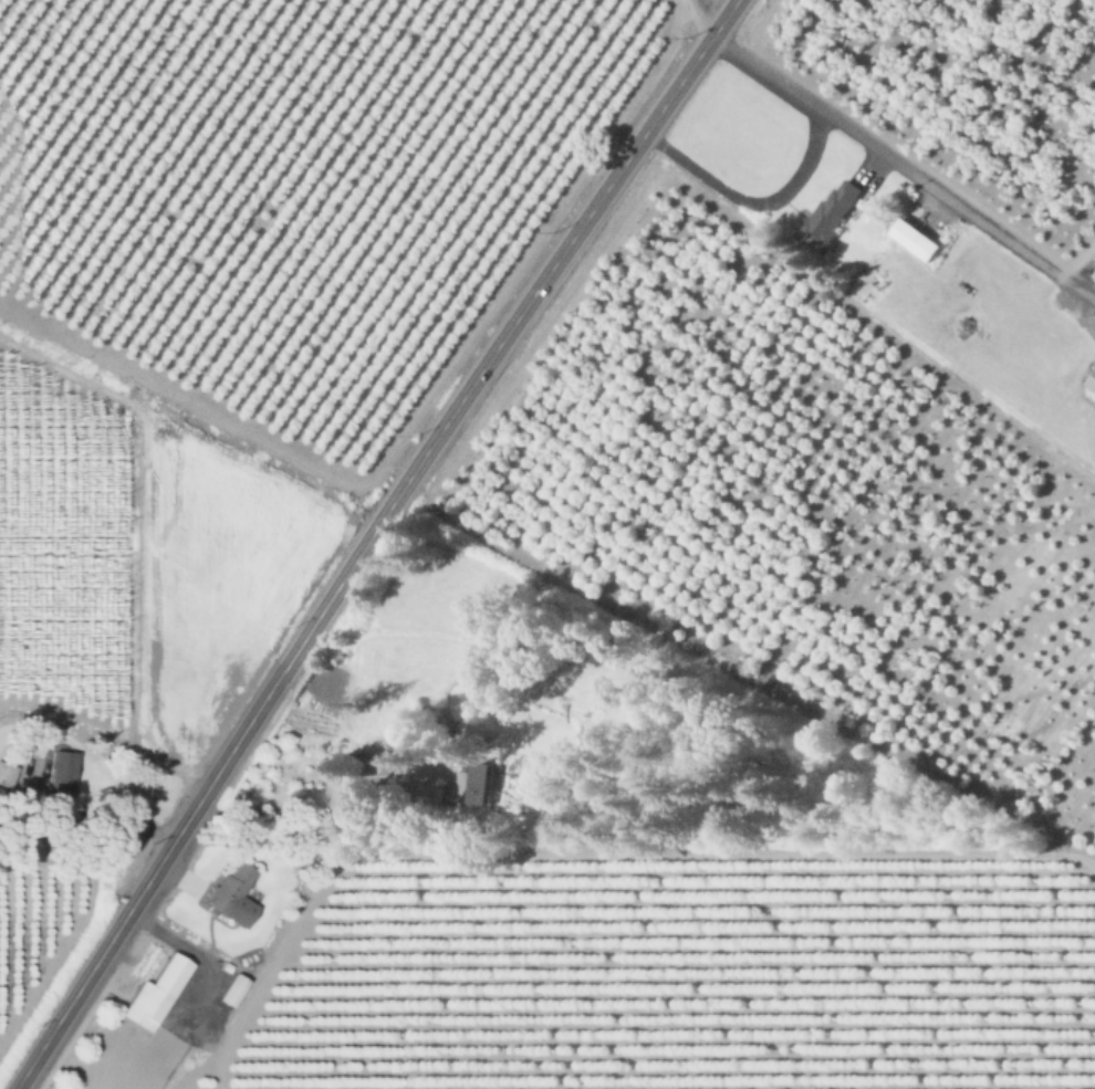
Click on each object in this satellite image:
road: (905, 169)
road: (752, 201)
building: (830, 216)
building: (915, 242)
building: (1092, 385)
road: (367, 537)
building: (7, 775)
building: (388, 777)
building: (65, 785)
building: (472, 785)
road: (305, 804)
road: (108, 828)
building: (232, 894)
crop: (42, 919)
road: (197, 952)
building: (232, 992)
building: (155, 994)

